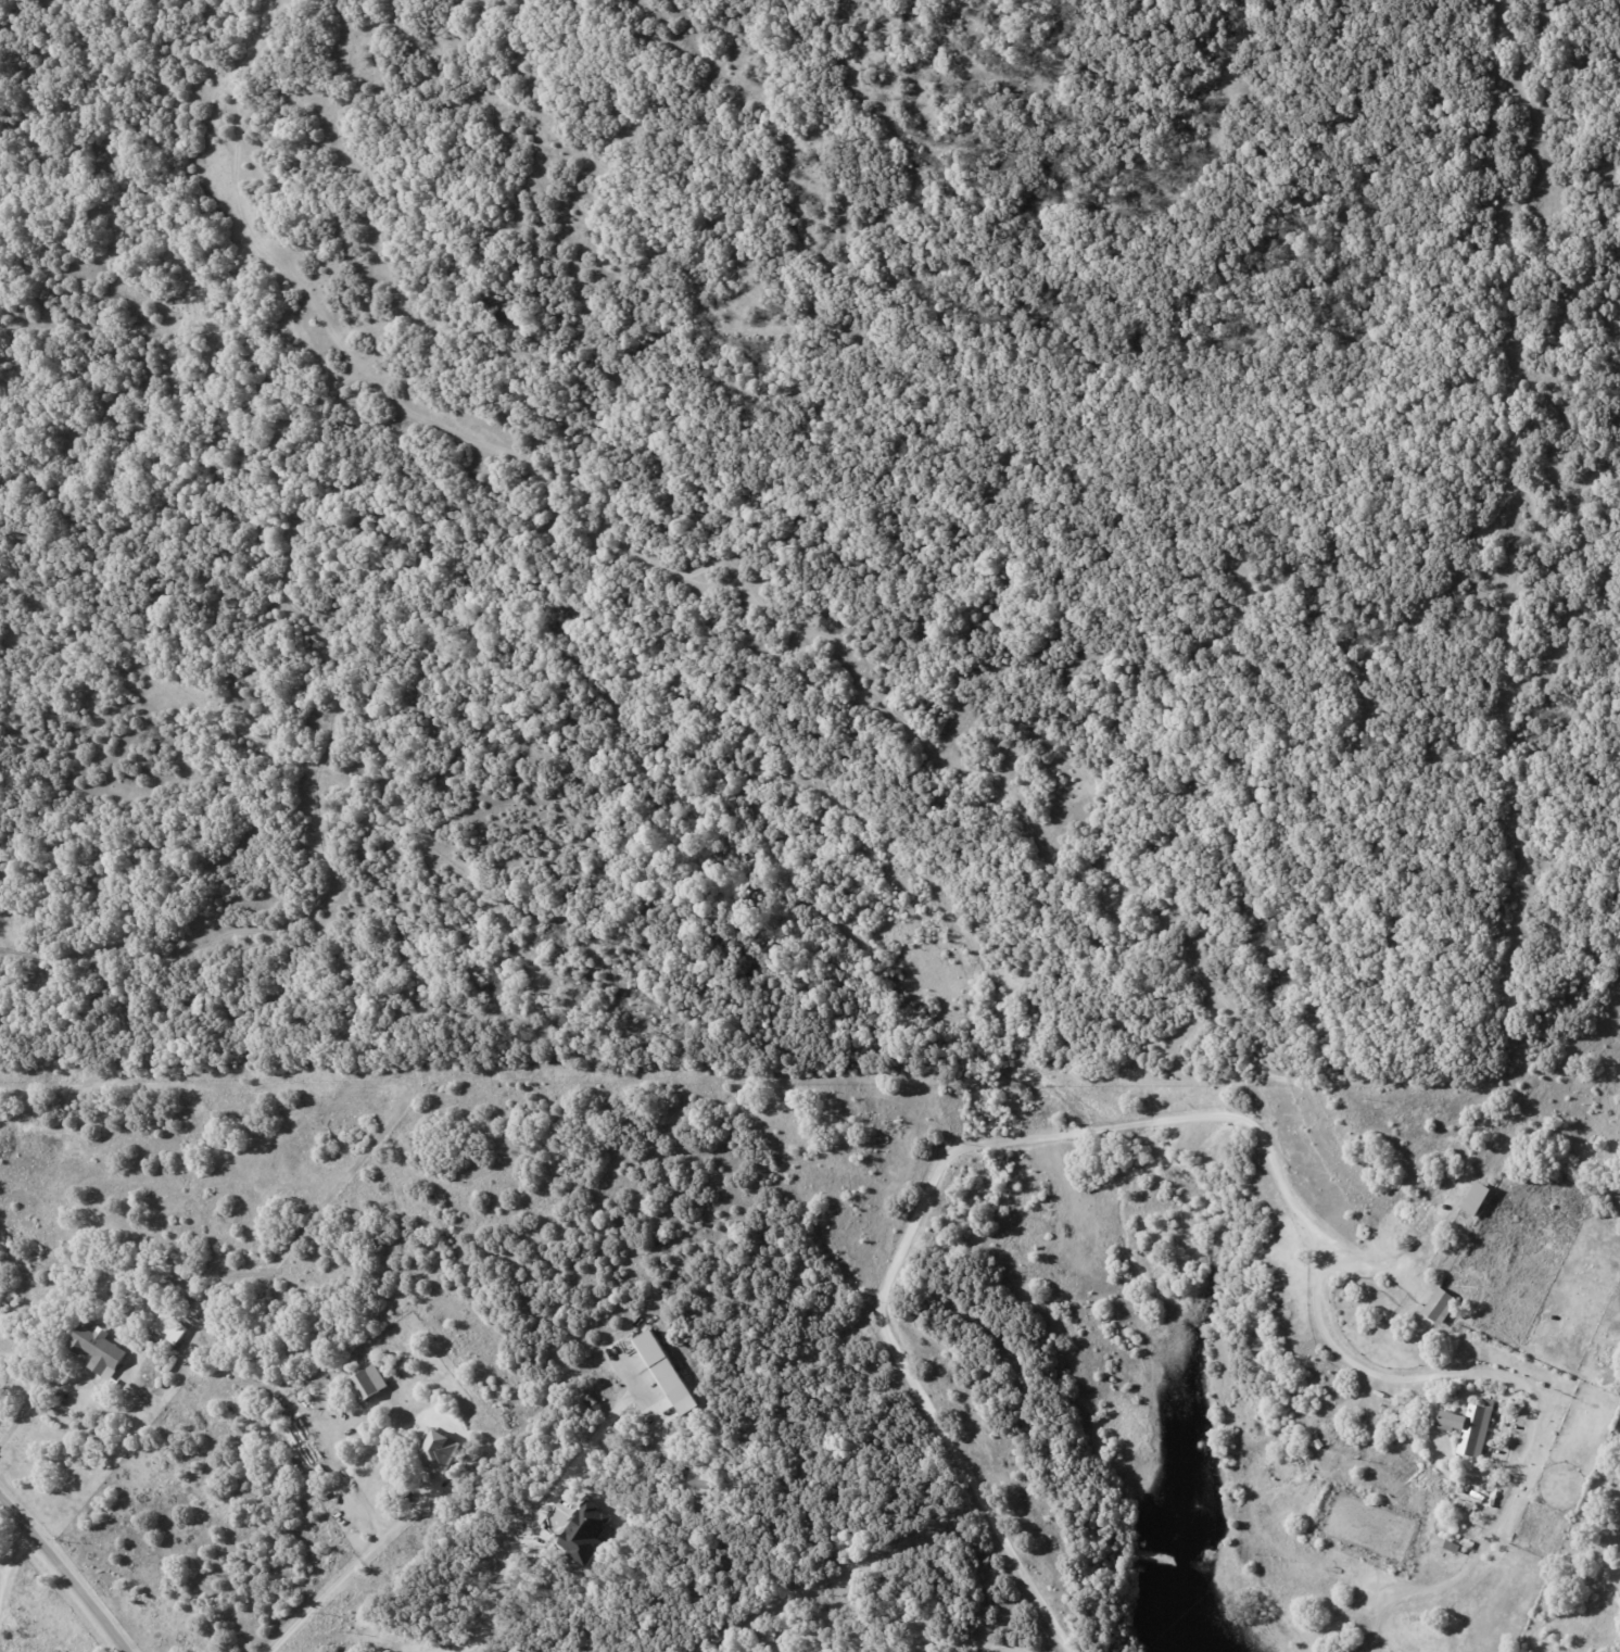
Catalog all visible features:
road: (1071, 1130)
building: (1476, 1198)
building: (1438, 1304)
building: (166, 1332)
building: (96, 1350)
building: (665, 1372)
building: (368, 1382)
road: (36, 1392)
building: (1468, 1427)
building: (438, 1448)
building: (694, 1484)
road: (530, 1522)
building: (582, 1531)
building: (1453, 1546)
road: (18, 1550)
road: (3, 1567)
road: (349, 1569)
road: (65, 1574)
road: (3, 1584)
road: (931, 1637)

